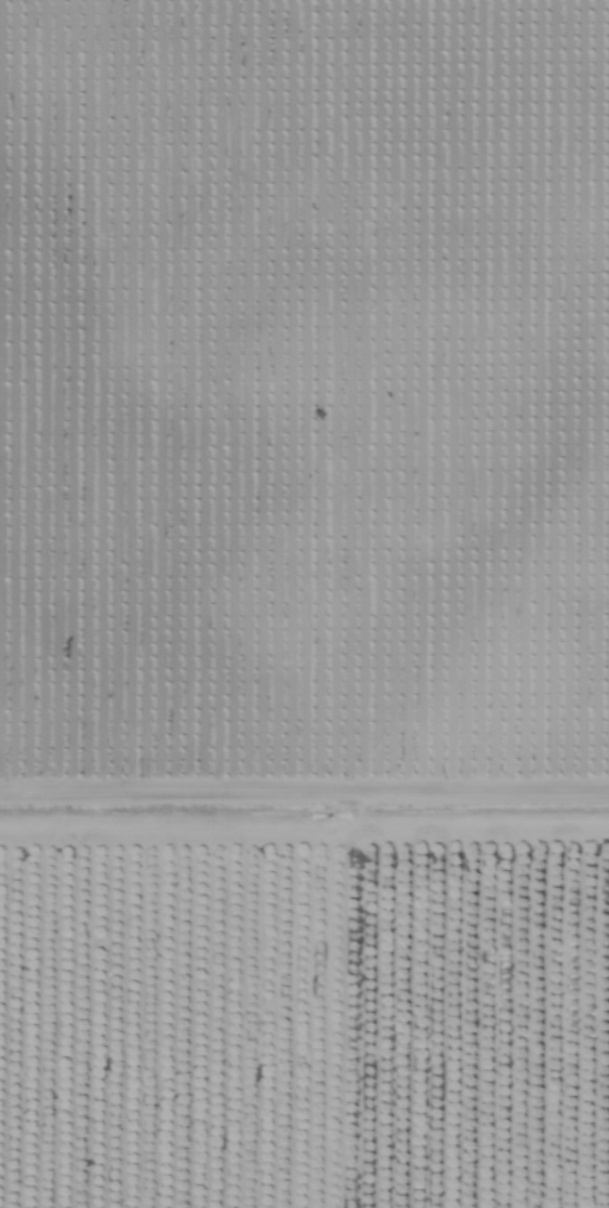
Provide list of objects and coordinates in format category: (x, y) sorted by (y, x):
crop: (304, 604)
road: (304, 870)
road: (349, 1040)

